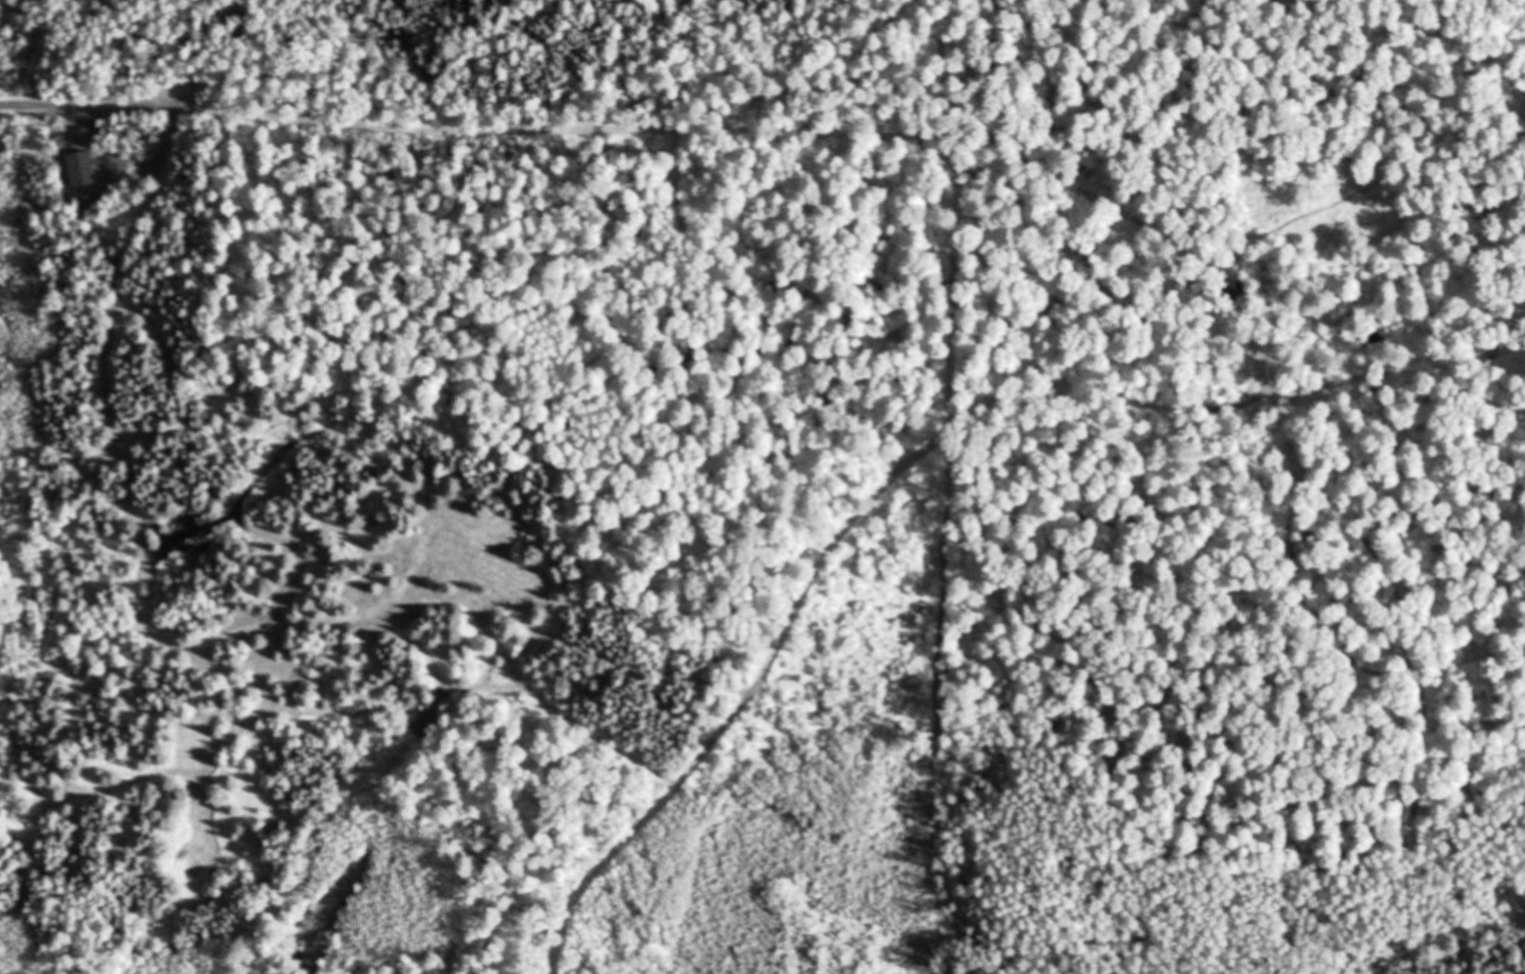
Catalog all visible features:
road: (86, 105)

